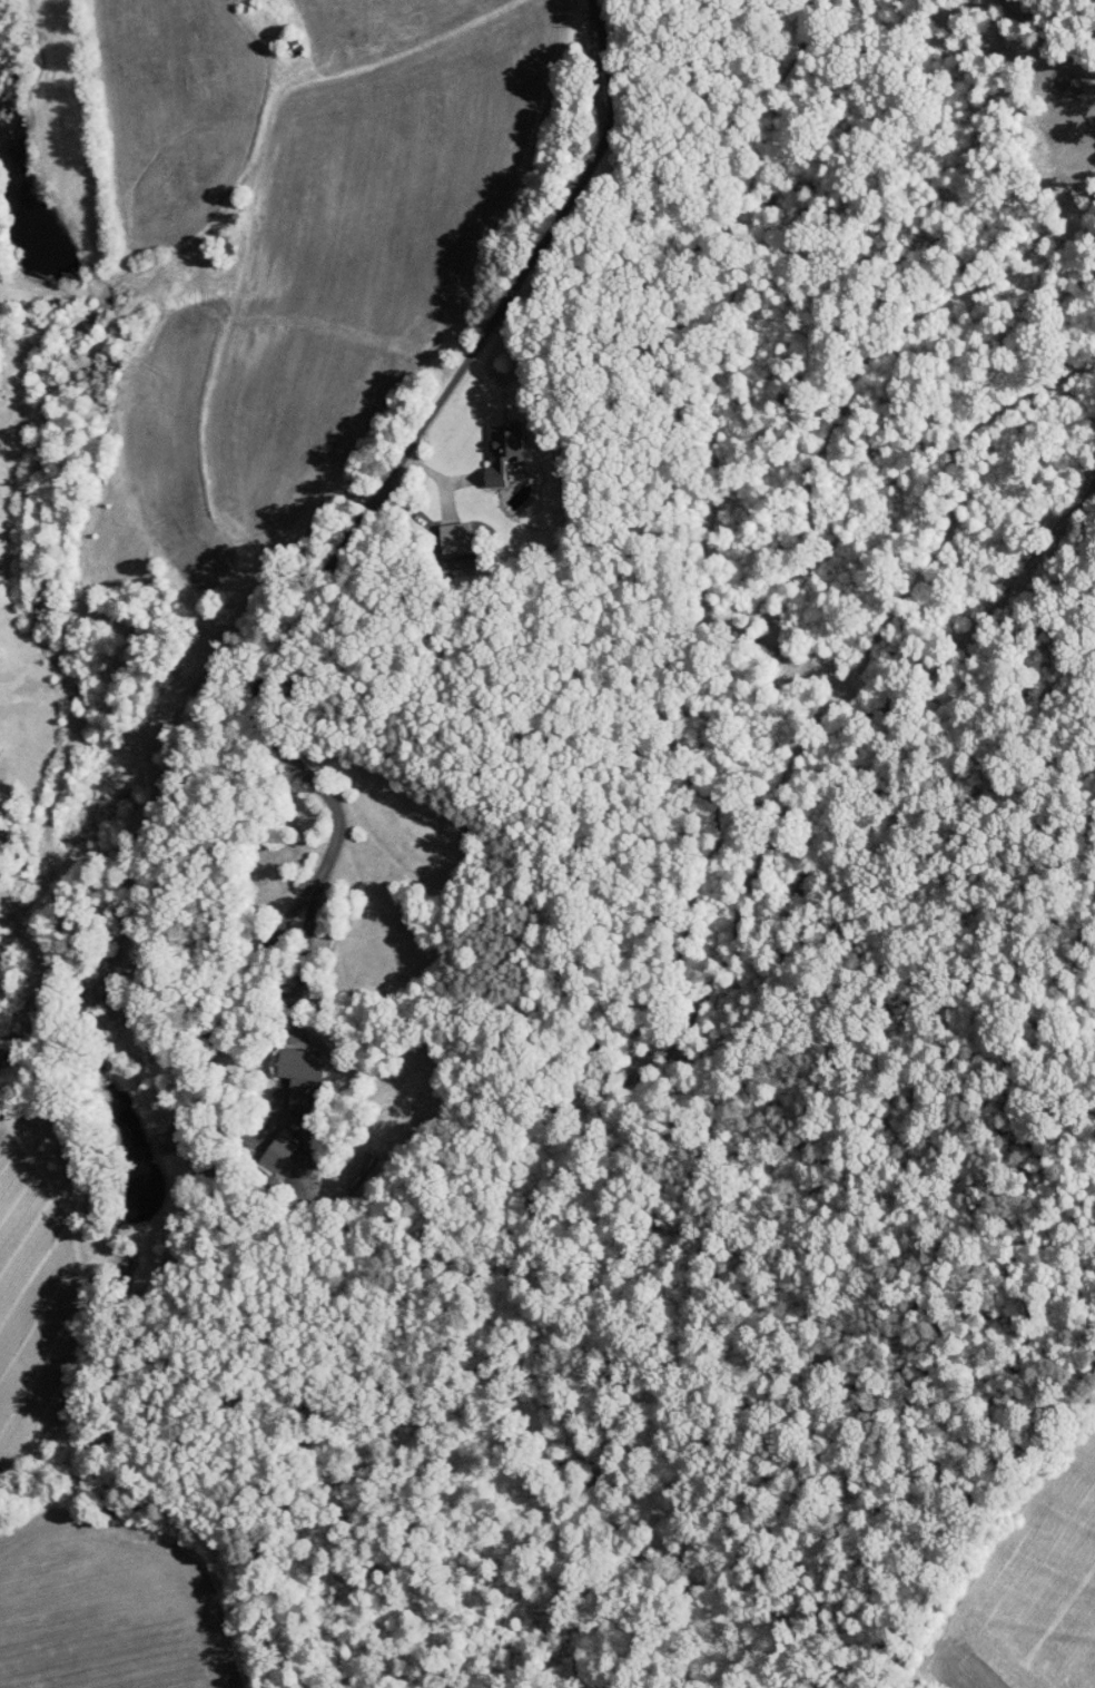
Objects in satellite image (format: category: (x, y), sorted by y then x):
road: (596, 13)
building: (489, 445)
road: (359, 521)
building: (441, 530)
building: (287, 1069)
building: (151, 1135)
building: (263, 1145)

